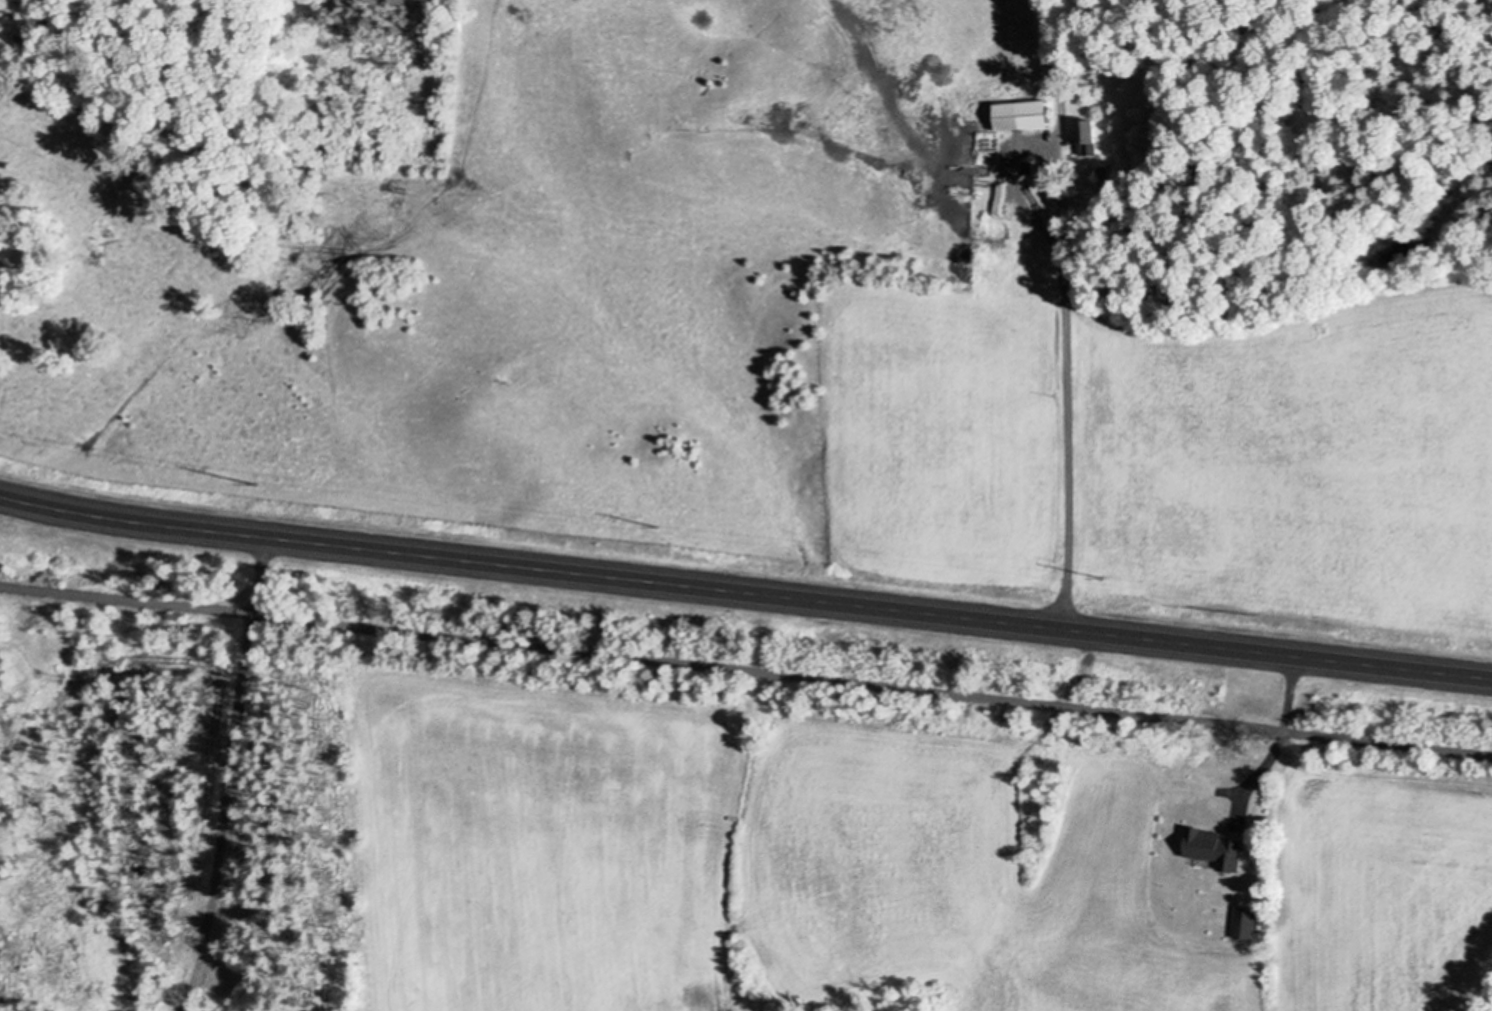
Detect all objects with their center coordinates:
road: (1061, 86)
building: (1029, 113)
building: (1092, 136)
building: (1115, 178)
road: (1064, 302)
power tower: (255, 481)
power tower: (658, 524)
power tower: (1104, 574)
road: (745, 588)
road: (745, 667)
road: (1287, 727)
road: (225, 774)
building: (1221, 846)
building: (1250, 921)

